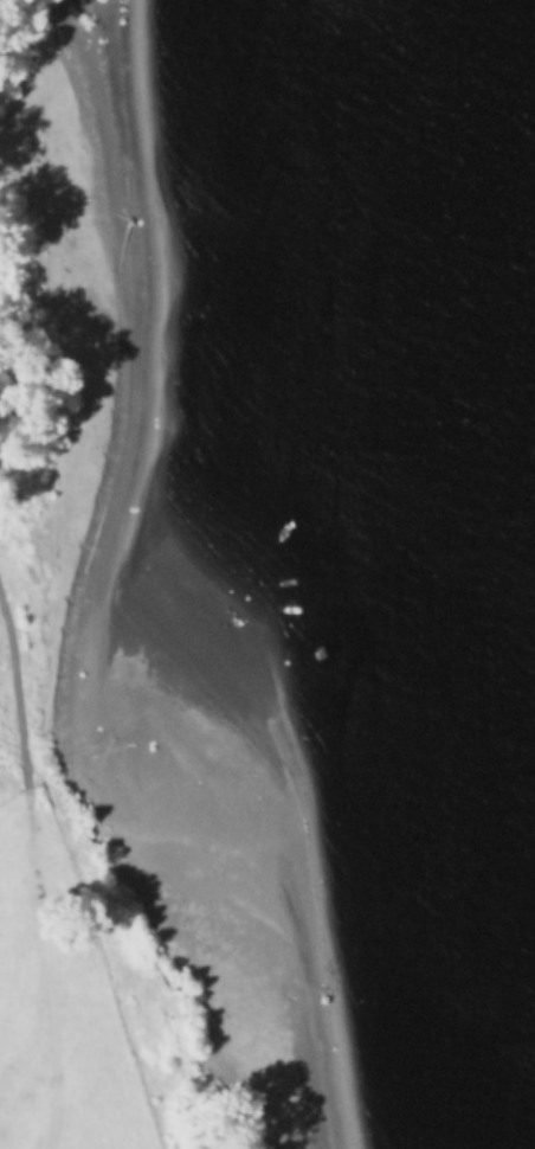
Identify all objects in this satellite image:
road: (14, 705)
road: (104, 961)
road: (43, 965)

